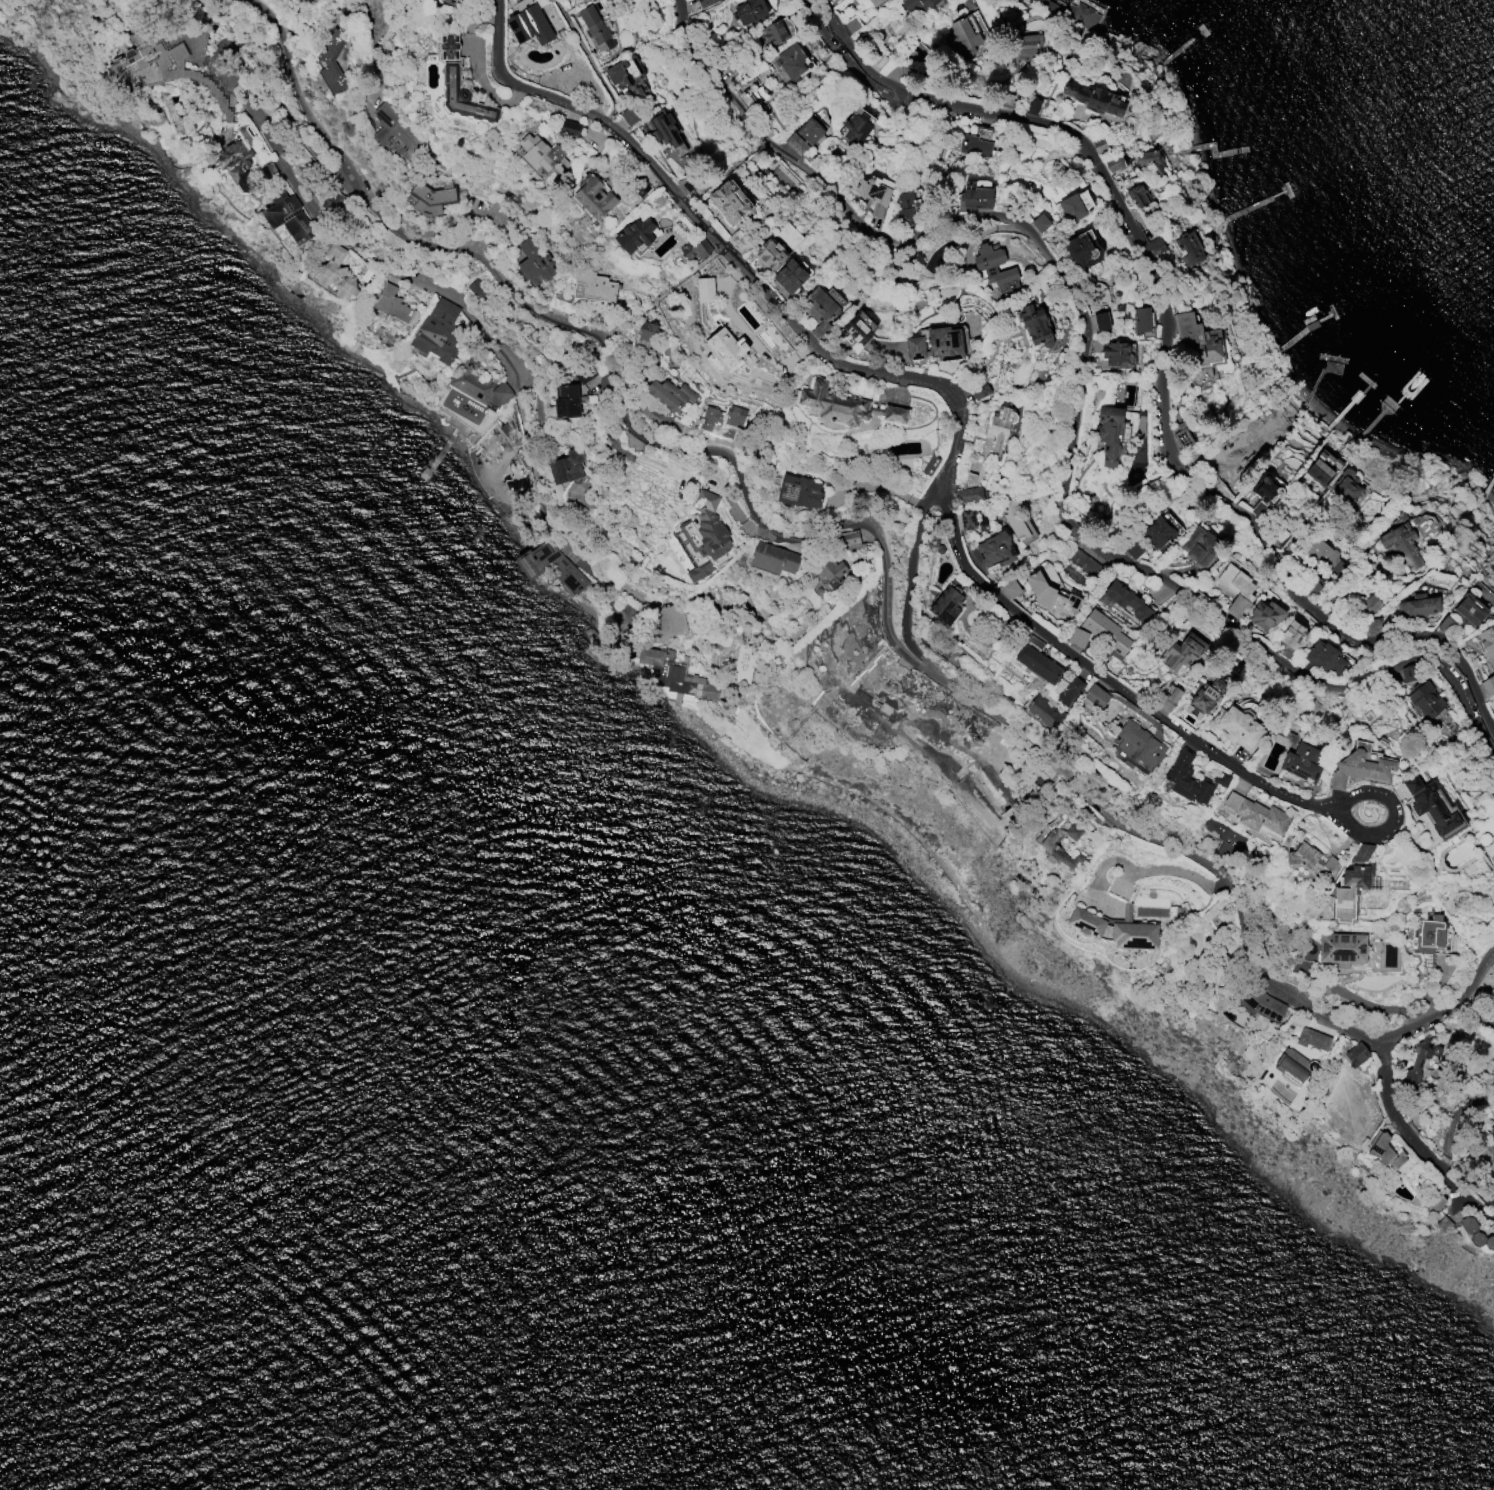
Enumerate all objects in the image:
building: (300, 0)
building: (301, 0)
building: (453, 0)
building: (875, 2)
building: (1033, 2)
building: (705, 3)
building: (917, 5)
building: (750, 11)
building: (1073, 12)
building: (528, 23)
building: (691, 23)
building: (852, 24)
building: (594, 25)
building: (773, 33)
building: (963, 34)
building: (1026, 45)
building: (448, 47)
road: (588, 59)
building: (330, 62)
building: (786, 65)
road: (847, 66)
building: (177, 70)
building: (626, 75)
building: (752, 93)
building: (462, 96)
building: (1093, 98)
building: (1002, 100)
road: (247, 102)
building: (1030, 107)
building: (628, 116)
building: (820, 119)
building: (569, 128)
building: (855, 128)
building: (663, 130)
building: (395, 133)
building: (803, 136)
building: (1101, 144)
building: (974, 146)
building: (543, 155)
building: (1149, 160)
building: (1114, 163)
building: (236, 165)
building: (684, 185)
building: (639, 187)
building: (873, 196)
building: (975, 197)
building: (1136, 197)
building: (431, 198)
building: (594, 199)
building: (730, 202)
building: (1071, 208)
building: (906, 209)
building: (288, 217)
building: (1040, 223)
building: (634, 235)
road: (338, 242)
building: (738, 242)
building: (1156, 247)
building: (695, 249)
building: (1083, 249)
building: (1188, 249)
building: (767, 255)
building: (534, 261)
building: (994, 266)
building: (714, 267)
building: (335, 271)
building: (789, 276)
building: (595, 284)
building: (475, 288)
building: (704, 289)
building: (390, 304)
building: (819, 311)
building: (1140, 319)
building: (1100, 322)
building: (1035, 326)
building: (857, 329)
building: (437, 331)
building: (648, 332)
road: (749, 334)
building: (1198, 339)
road: (808, 341)
building: (944, 343)
building: (1096, 346)
building: (727, 347)
building: (914, 348)
building: (1115, 353)
road: (1162, 368)
building: (583, 372)
building: (477, 386)
building: (979, 389)
building: (669, 394)
road: (1076, 395)
building: (567, 401)
building: (845, 406)
building: (722, 420)
building: (999, 428)
building: (1108, 432)
building: (1230, 455)
building: (566, 466)
building: (1322, 467)
building: (1347, 485)
road: (874, 486)
building: (1267, 491)
building: (968, 494)
building: (797, 495)
building: (966, 519)
building: (1017, 522)
building: (1156, 532)
building: (702, 535)
road: (806, 538)
building: (849, 539)
building: (1402, 546)
building: (1199, 547)
building: (1133, 550)
building: (995, 552)
building: (1321, 553)
building: (772, 558)
building: (1084, 563)
building: (549, 566)
building: (829, 573)
building: (1312, 585)
building: (1009, 588)
building: (1235, 588)
building: (1051, 596)
building: (1001, 599)
building: (1126, 601)
building: (946, 603)
building: (1369, 603)
building: (1417, 605)
building: (1468, 610)
building: (1265, 615)
building: (1372, 626)
building: (1106, 631)
building: (1291, 634)
building: (1077, 637)
building: (1487, 641)
building: (1184, 652)
building: (649, 657)
building: (1324, 658)
building: (1037, 660)
building: (742, 664)
building: (1406, 673)
building: (687, 683)
building: (1487, 685)
building: (1068, 691)
building: (1168, 699)
building: (1202, 699)
building: (1424, 699)
building: (1043, 710)
building: (1192, 712)
building: (1493, 717)
road: (1163, 718)
building: (1238, 727)
building: (1132, 731)
building: (1301, 762)
building: (1359, 768)
building: (1186, 779)
building: (1220, 779)
building: (1432, 809)
building: (1255, 814)
building: (1222, 836)
building: (1048, 846)
building: (1309, 860)
road: (1177, 870)
building: (1351, 883)
building: (1113, 930)
building: (1431, 931)
building: (1341, 948)
road: (1446, 1008)
building: (1311, 1039)
building: (1355, 1054)
building: (1417, 1063)
building: (1293, 1066)
building: (1490, 1138)
road: (1416, 1144)
building: (1385, 1151)
building: (1435, 1203)
building: (1441, 1224)
building: (1474, 1234)

